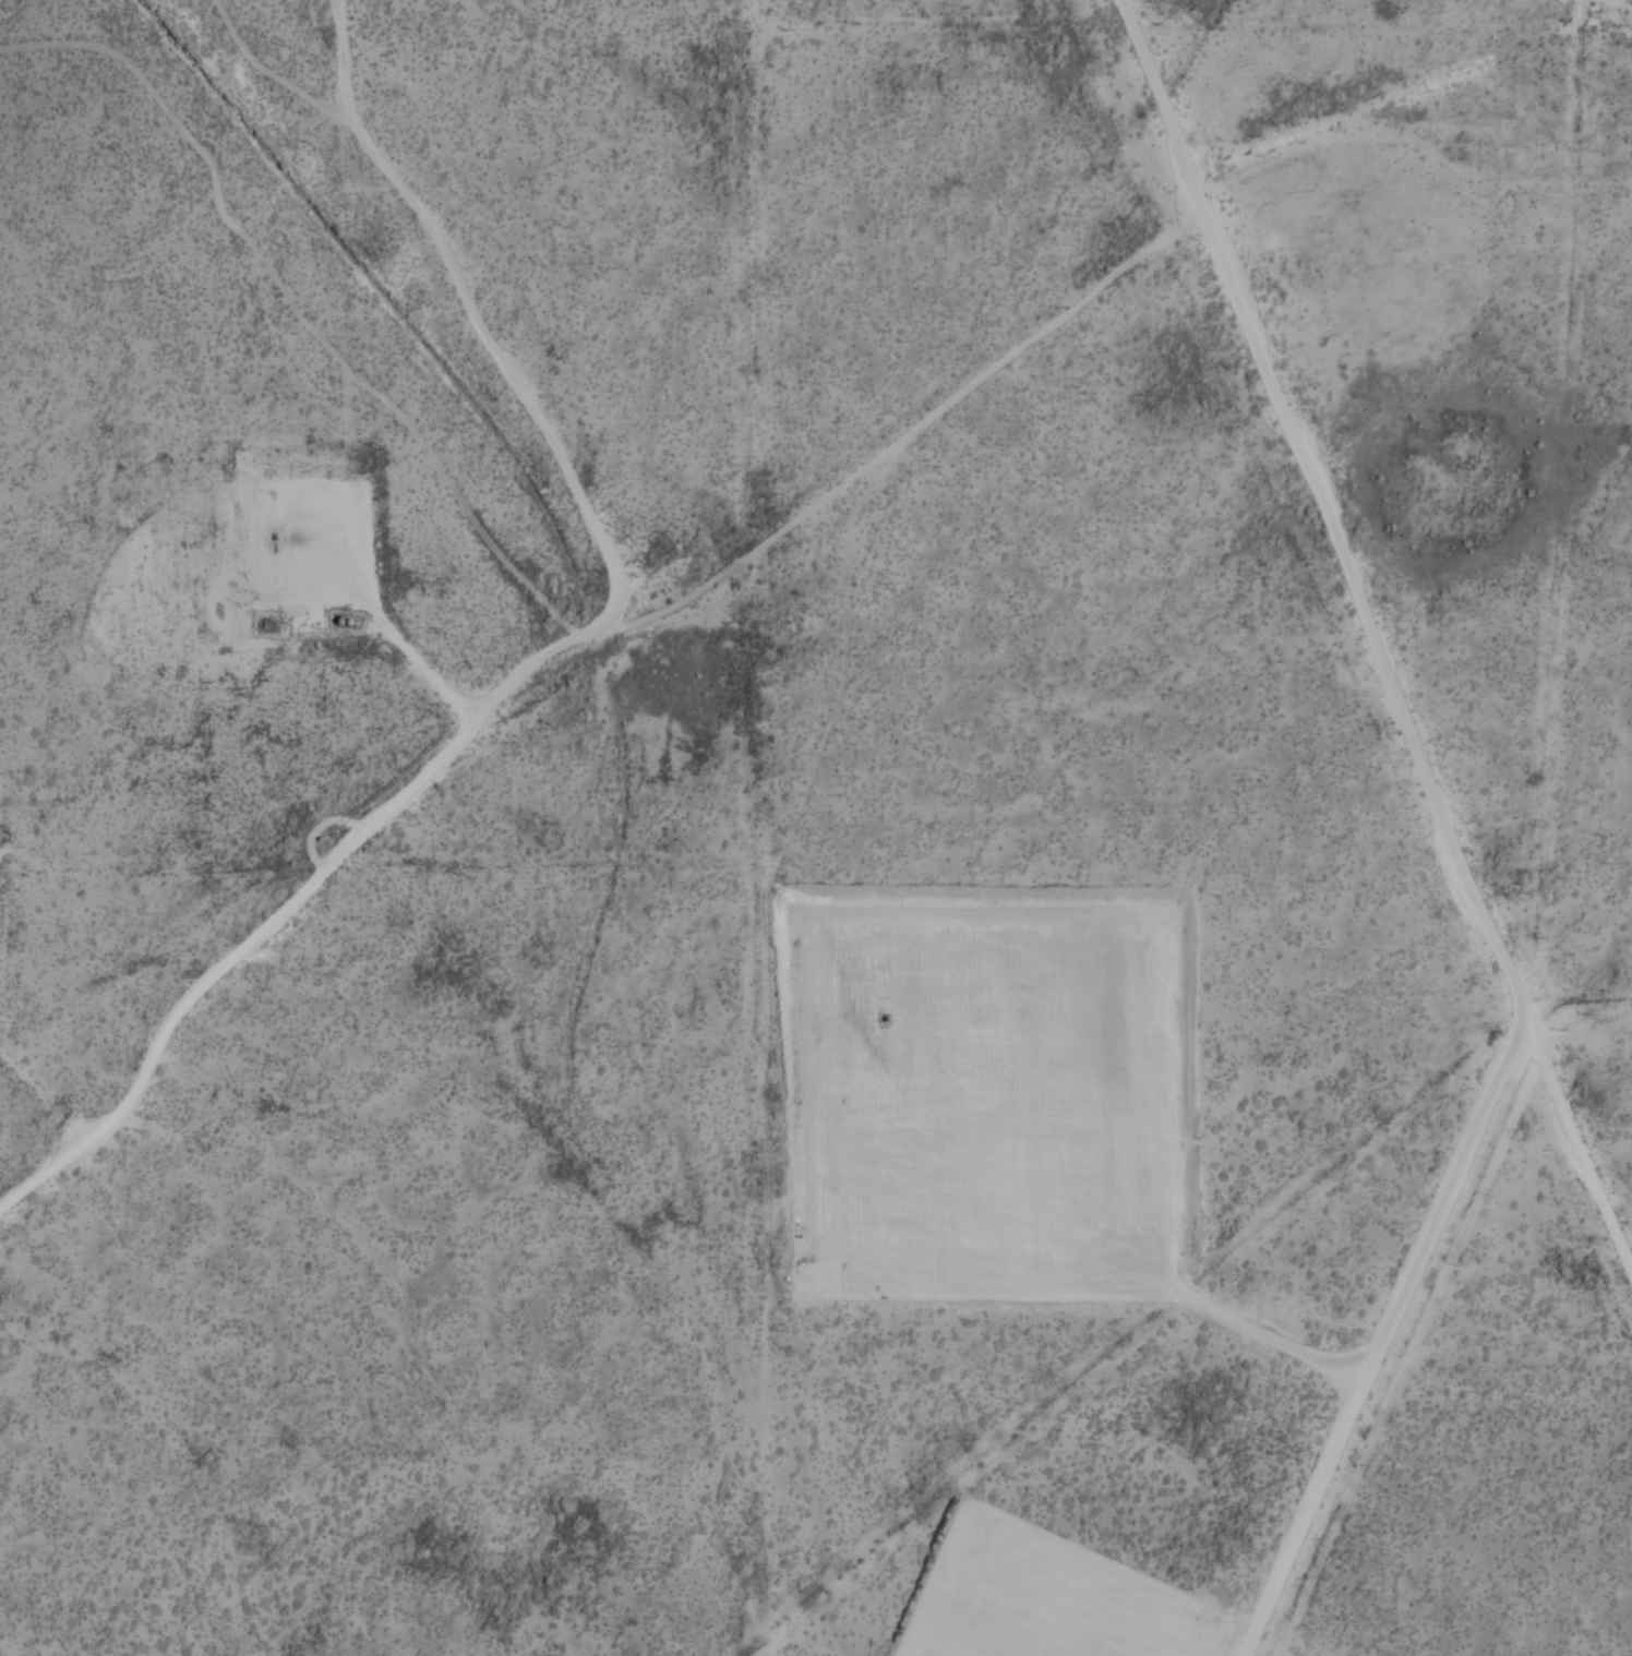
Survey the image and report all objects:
road: (346, 69)
road: (1336, 118)
road: (295, 307)
road: (505, 363)
road: (604, 632)
road: (1372, 633)
road: (565, 669)
road: (45, 1095)

